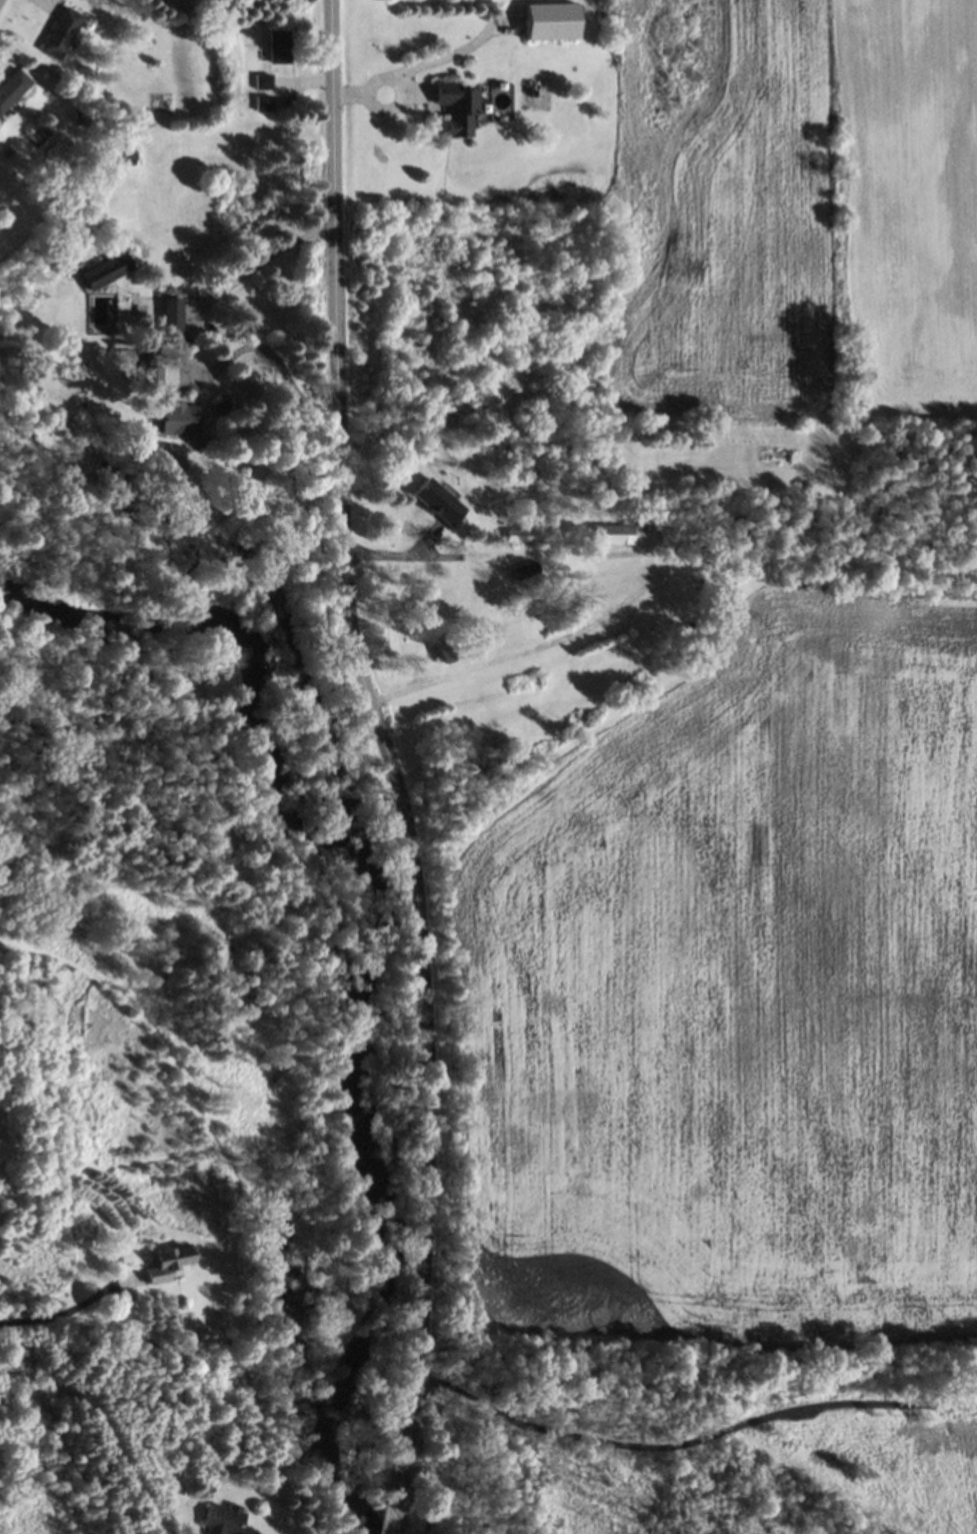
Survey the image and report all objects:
building: (552, 21)
building: (62, 32)
building: (281, 46)
building: (265, 81)
building: (13, 88)
building: (266, 102)
building: (460, 108)
crop: (796, 212)
building: (108, 270)
building: (175, 315)
road: (272, 352)
building: (155, 375)
building: (180, 417)
building: (439, 501)
building: (615, 534)
building: (521, 535)
building: (527, 571)
road: (391, 757)
river: (358, 922)
crop: (725, 1003)
building: (167, 1263)
building: (225, 1517)
road: (392, 1523)

